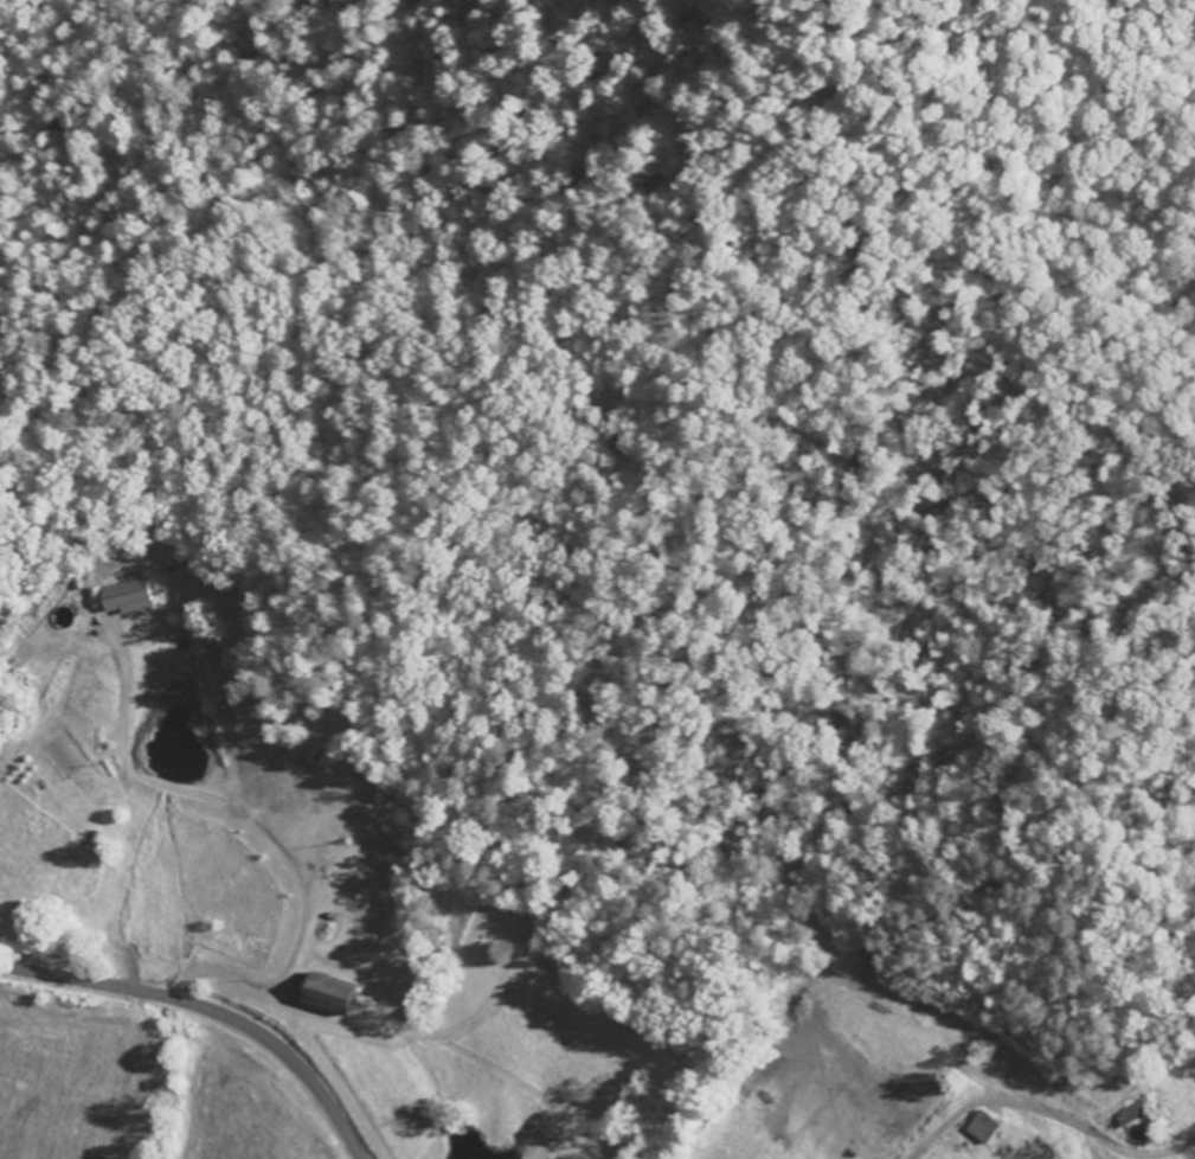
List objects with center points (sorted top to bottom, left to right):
building: (129, 597)
building: (333, 994)
road: (210, 1010)
building: (984, 1128)

